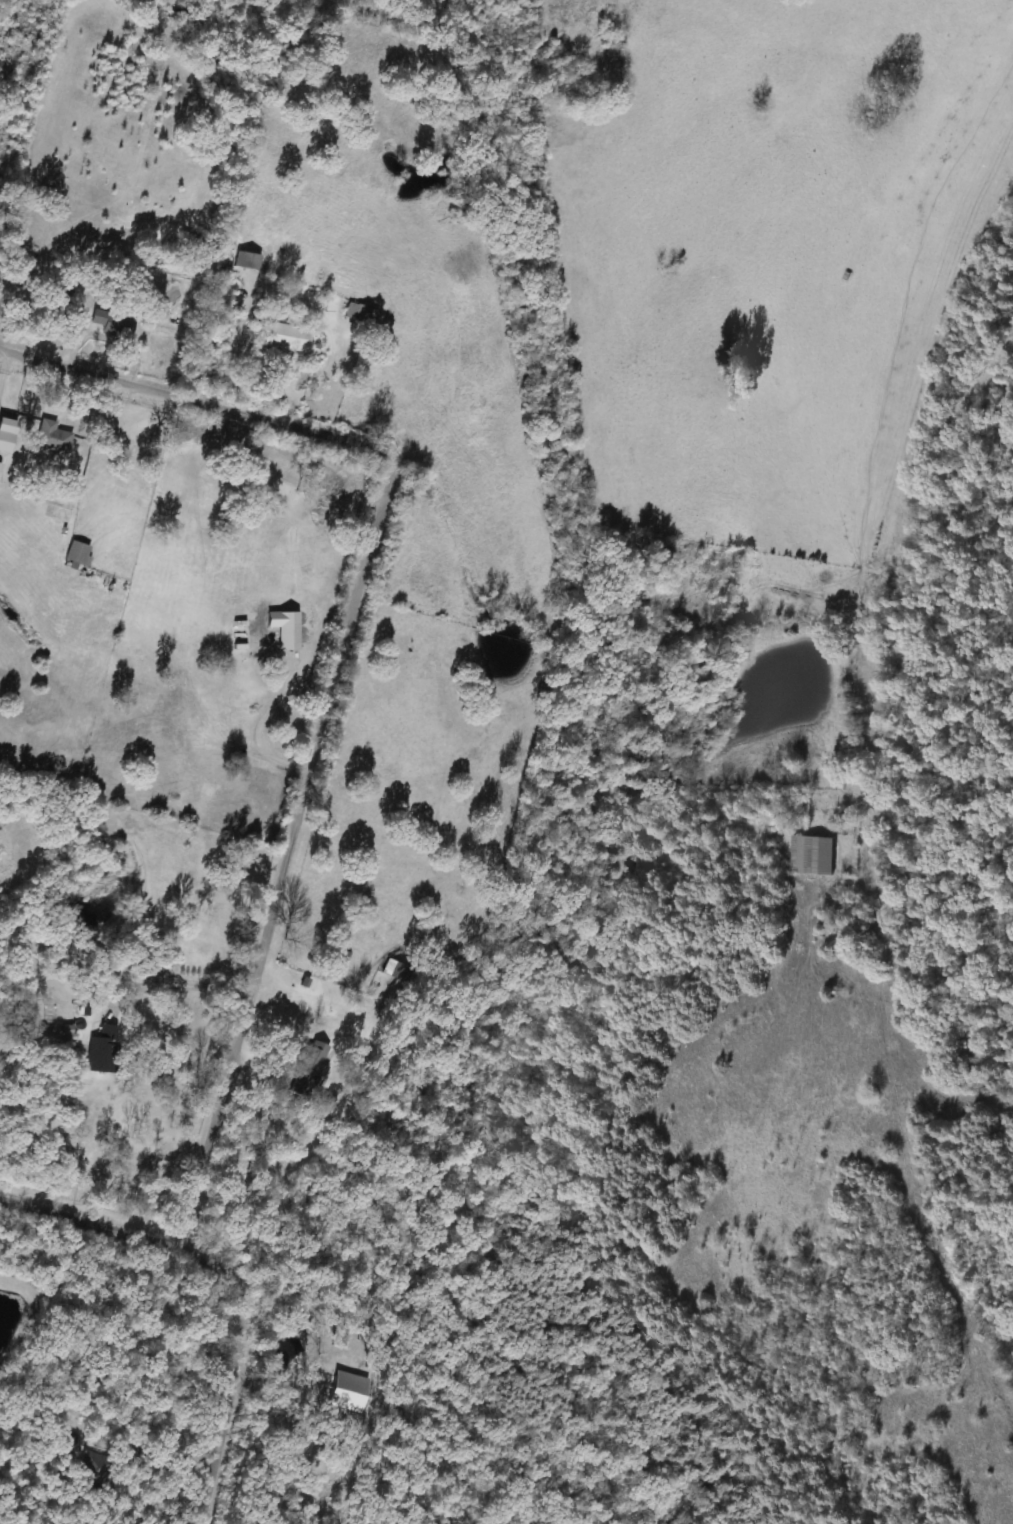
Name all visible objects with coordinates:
building: (246, 260)
building: (355, 311)
building: (112, 323)
building: (288, 337)
road: (195, 400)
building: (51, 432)
building: (75, 553)
road: (255, 731)
building: (803, 853)
road: (284, 855)
building: (117, 967)
building: (396, 969)
road: (176, 981)
building: (102, 1049)
building: (313, 1068)
road: (234, 1280)
building: (94, 1470)

